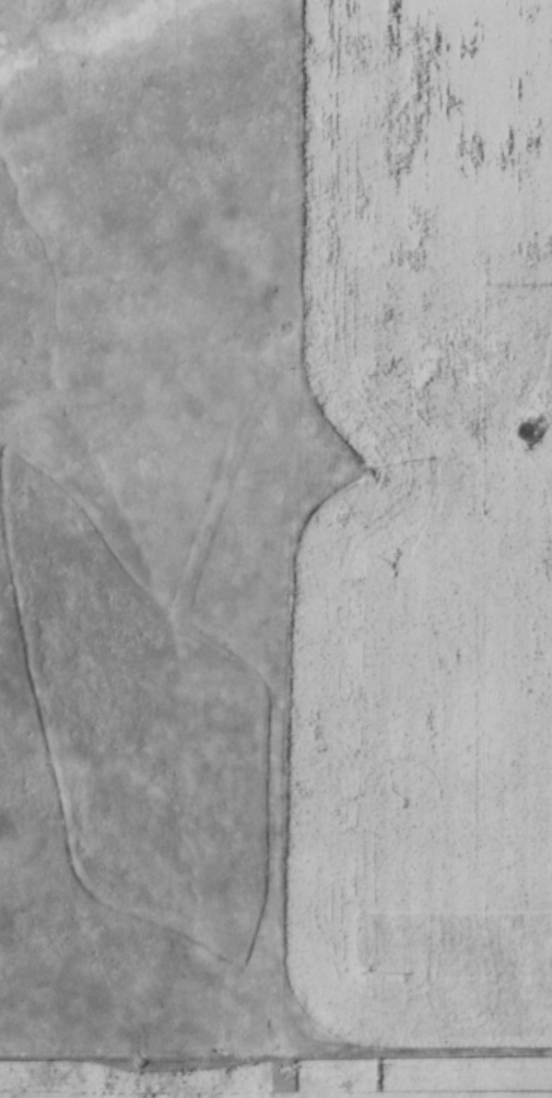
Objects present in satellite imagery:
crop: (423, 528)
crop: (278, 1077)

